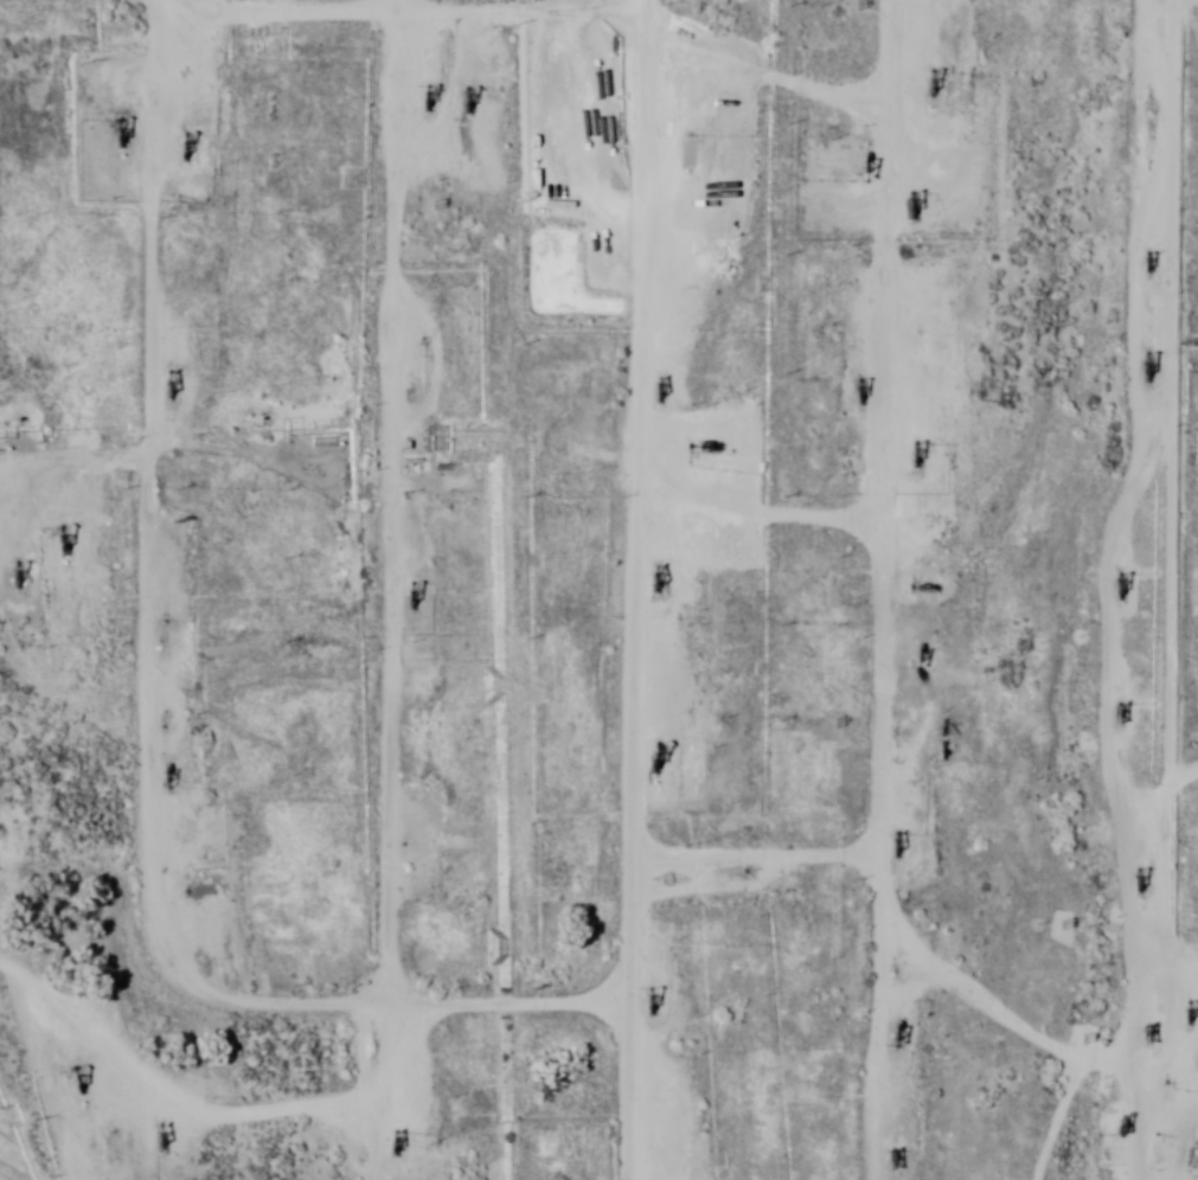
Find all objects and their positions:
road: (1142, 1)
road: (417, 37)
road: (342, 513)
road: (1109, 521)
road: (869, 547)
road: (833, 589)
road: (595, 590)
road: (104, 720)

